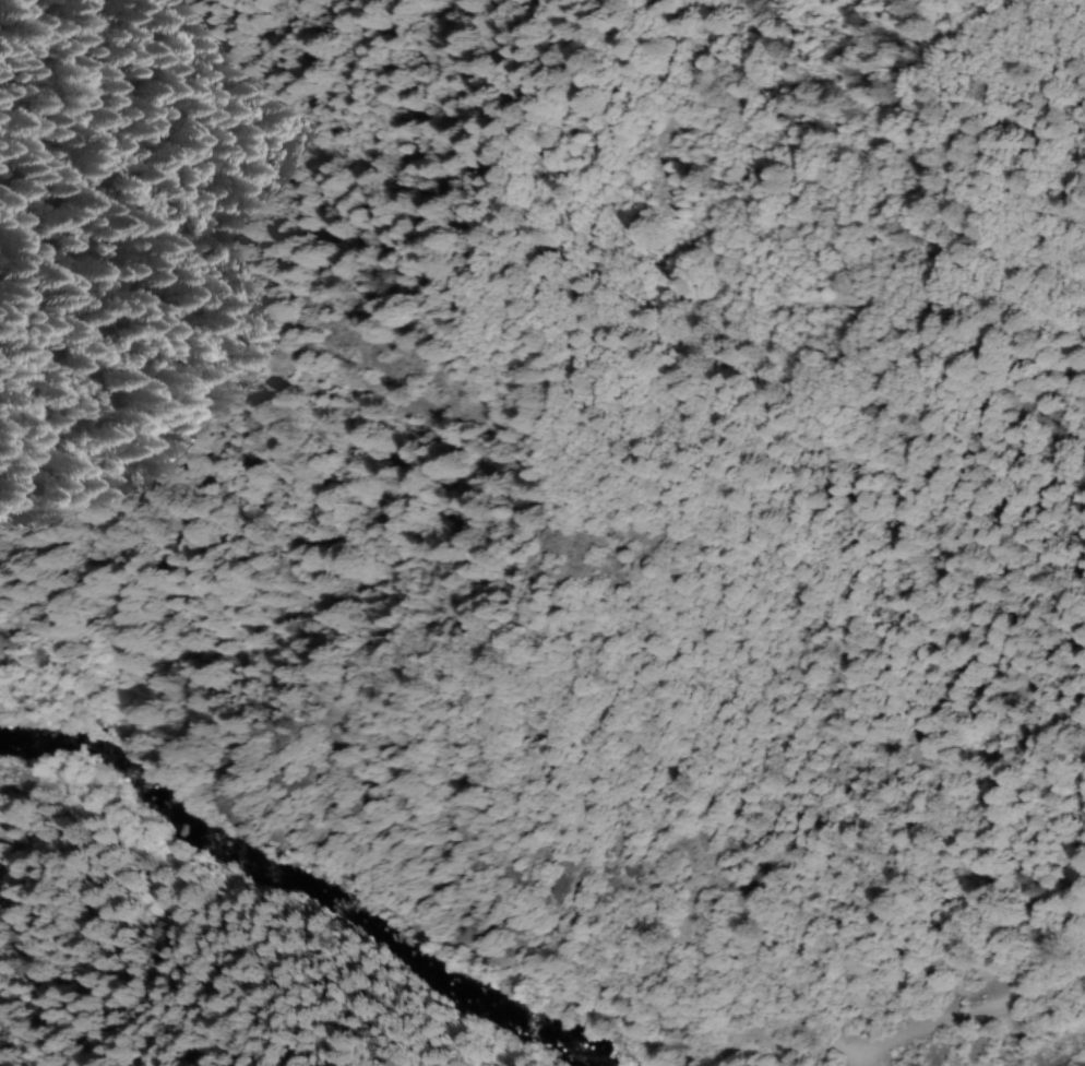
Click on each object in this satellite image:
river: (65, 734)
river: (334, 926)
road: (548, 998)
road: (964, 1017)

